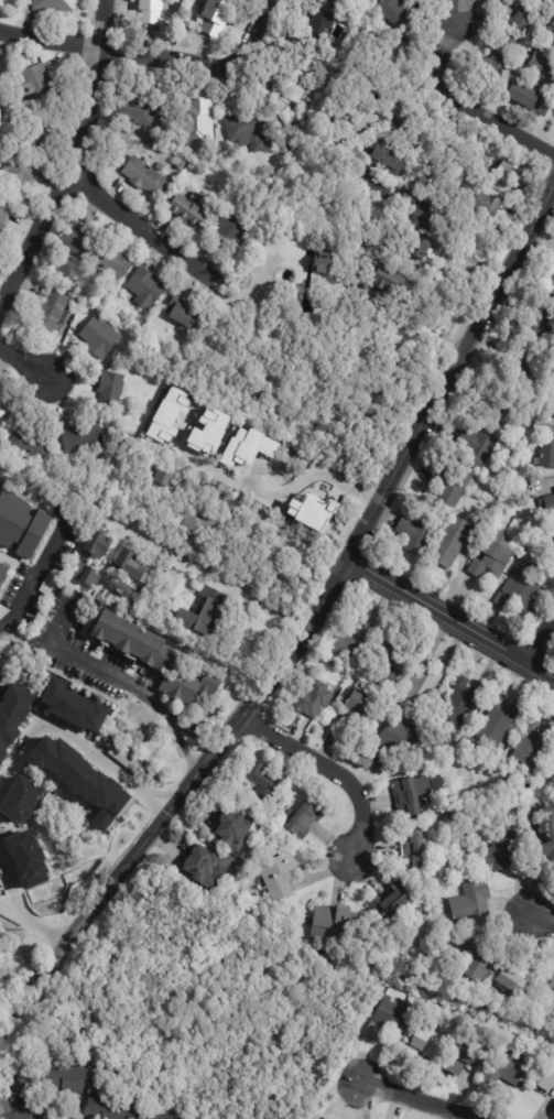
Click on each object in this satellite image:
building: (341, 2)
building: (54, 6)
building: (152, 11)
building: (398, 14)
building: (528, 14)
building: (216, 17)
building: (552, 21)
road: (100, 24)
building: (321, 24)
building: (551, 33)
road: (50, 41)
building: (388, 54)
building: (506, 54)
building: (334, 62)
road: (203, 64)
building: (542, 64)
building: (295, 77)
building: (346, 84)
building: (40, 85)
building: (530, 98)
road: (460, 102)
building: (3, 110)
building: (134, 112)
building: (340, 112)
building: (198, 126)
building: (409, 128)
building: (248, 133)
building: (37, 137)
building: (289, 151)
building: (390, 161)
building: (182, 164)
building: (493, 171)
building: (19, 176)
building: (144, 177)
building: (518, 180)
road: (64, 181)
building: (431, 183)
building: (377, 185)
building: (487, 206)
building: (191, 208)
building: (417, 213)
building: (3, 215)
road: (139, 228)
building: (227, 231)
building: (79, 240)
building: (426, 254)
building: (322, 262)
building: (112, 264)
building: (551, 278)
building: (389, 280)
building: (145, 289)
building: (107, 311)
building: (53, 313)
building: (184, 313)
building: (539, 318)
road: (421, 334)
building: (99, 337)
building: (519, 361)
road: (26, 363)
road: (453, 372)
building: (110, 392)
building: (4, 406)
building: (551, 406)
building: (508, 411)
building: (167, 414)
building: (207, 432)
building: (77, 439)
building: (31, 441)
building: (247, 446)
building: (479, 448)
building: (547, 452)
building: (163, 480)
building: (180, 482)
building: (210, 484)
building: (452, 487)
road: (257, 493)
building: (547, 504)
building: (231, 508)
building: (309, 511)
building: (142, 522)
building: (203, 522)
building: (21, 528)
building: (417, 535)
building: (260, 540)
building: (456, 542)
building: (97, 544)
building: (495, 555)
building: (129, 565)
building: (3, 574)
building: (87, 575)
road: (207, 575)
road: (34, 585)
building: (119, 587)
building: (522, 591)
building: (267, 607)
building: (203, 612)
road: (450, 618)
road: (539, 638)
building: (351, 640)
building: (156, 658)
building: (391, 659)
road: (118, 680)
building: (425, 682)
road: (263, 689)
building: (314, 699)
building: (461, 702)
building: (363, 705)
building: (70, 707)
building: (498, 724)
building: (408, 739)
road: (78, 741)
building: (534, 745)
building: (385, 759)
building: (553, 768)
road: (330, 769)
building: (80, 780)
building: (265, 782)
building: (509, 793)
building: (409, 797)
building: (304, 821)
building: (235, 829)
building: (541, 839)
building: (501, 846)
building: (415, 850)
building: (208, 865)
building: (282, 873)
building: (471, 902)
building: (391, 905)
road: (94, 910)
road: (19, 912)
road: (542, 922)
building: (337, 924)
building: (1, 950)
building: (481, 957)
building: (517, 980)
building: (552, 984)
park: (204, 1006)
road: (10, 1020)
building: (391, 1020)
building: (432, 1046)
building: (467, 1056)
building: (511, 1068)
building: (545, 1072)
building: (62, 1079)
road: (415, 1101)
road: (21, 1107)
building: (112, 1110)
building: (162, 1116)

